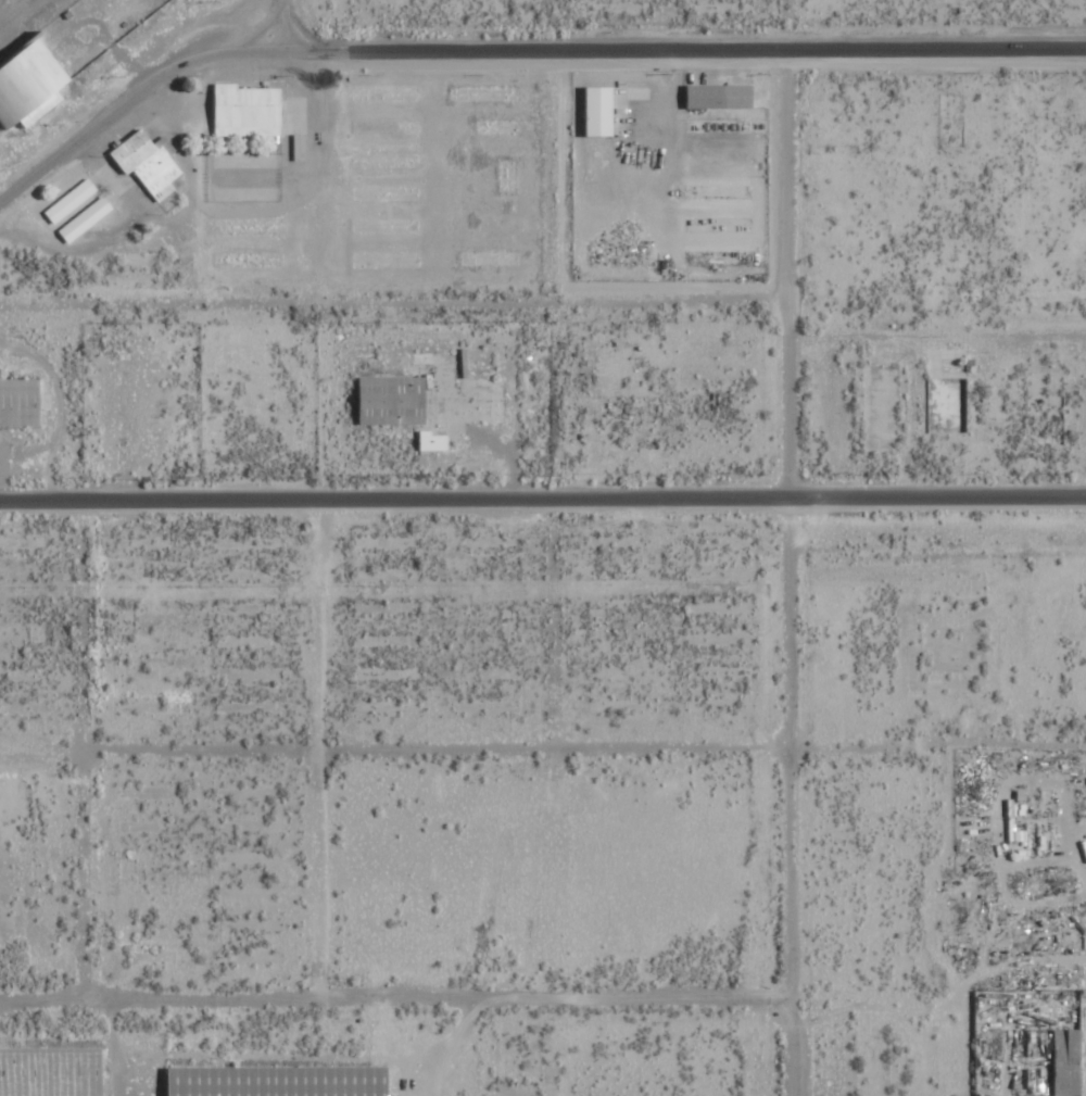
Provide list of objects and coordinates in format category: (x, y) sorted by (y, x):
road: (516, 45)
building: (30, 80)
building: (722, 96)
building: (250, 111)
building: (602, 111)
building: (151, 163)
building: (72, 201)
building: (87, 218)
road: (388, 305)
building: (395, 401)
building: (21, 402)
building: (434, 441)
road: (543, 501)
road: (776, 571)
road: (345, 632)
road: (542, 761)
road: (337, 871)
road: (83, 873)
road: (389, 978)
building: (1062, 1062)
building: (52, 1071)
building: (282, 1081)

